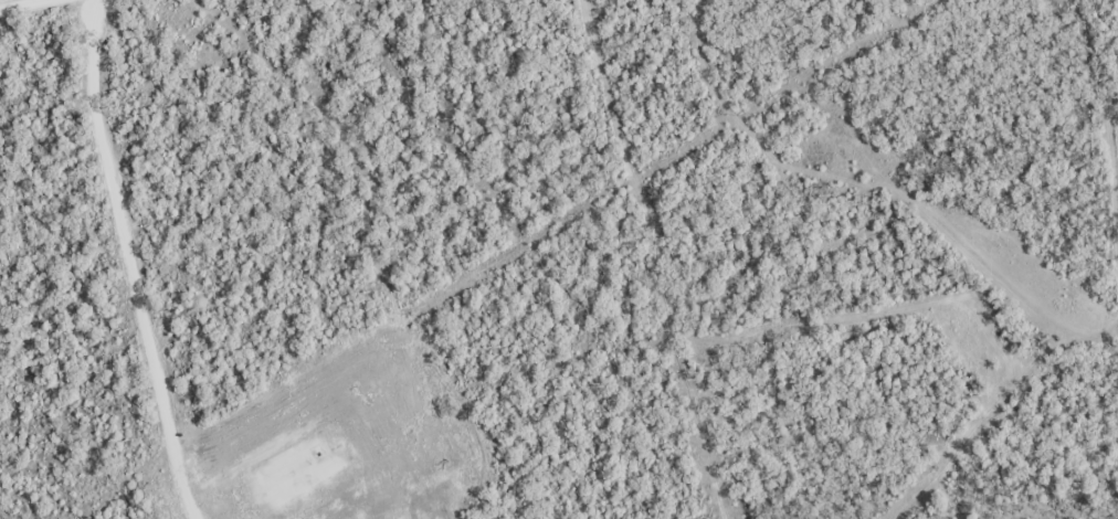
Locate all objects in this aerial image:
road: (20, 3)

